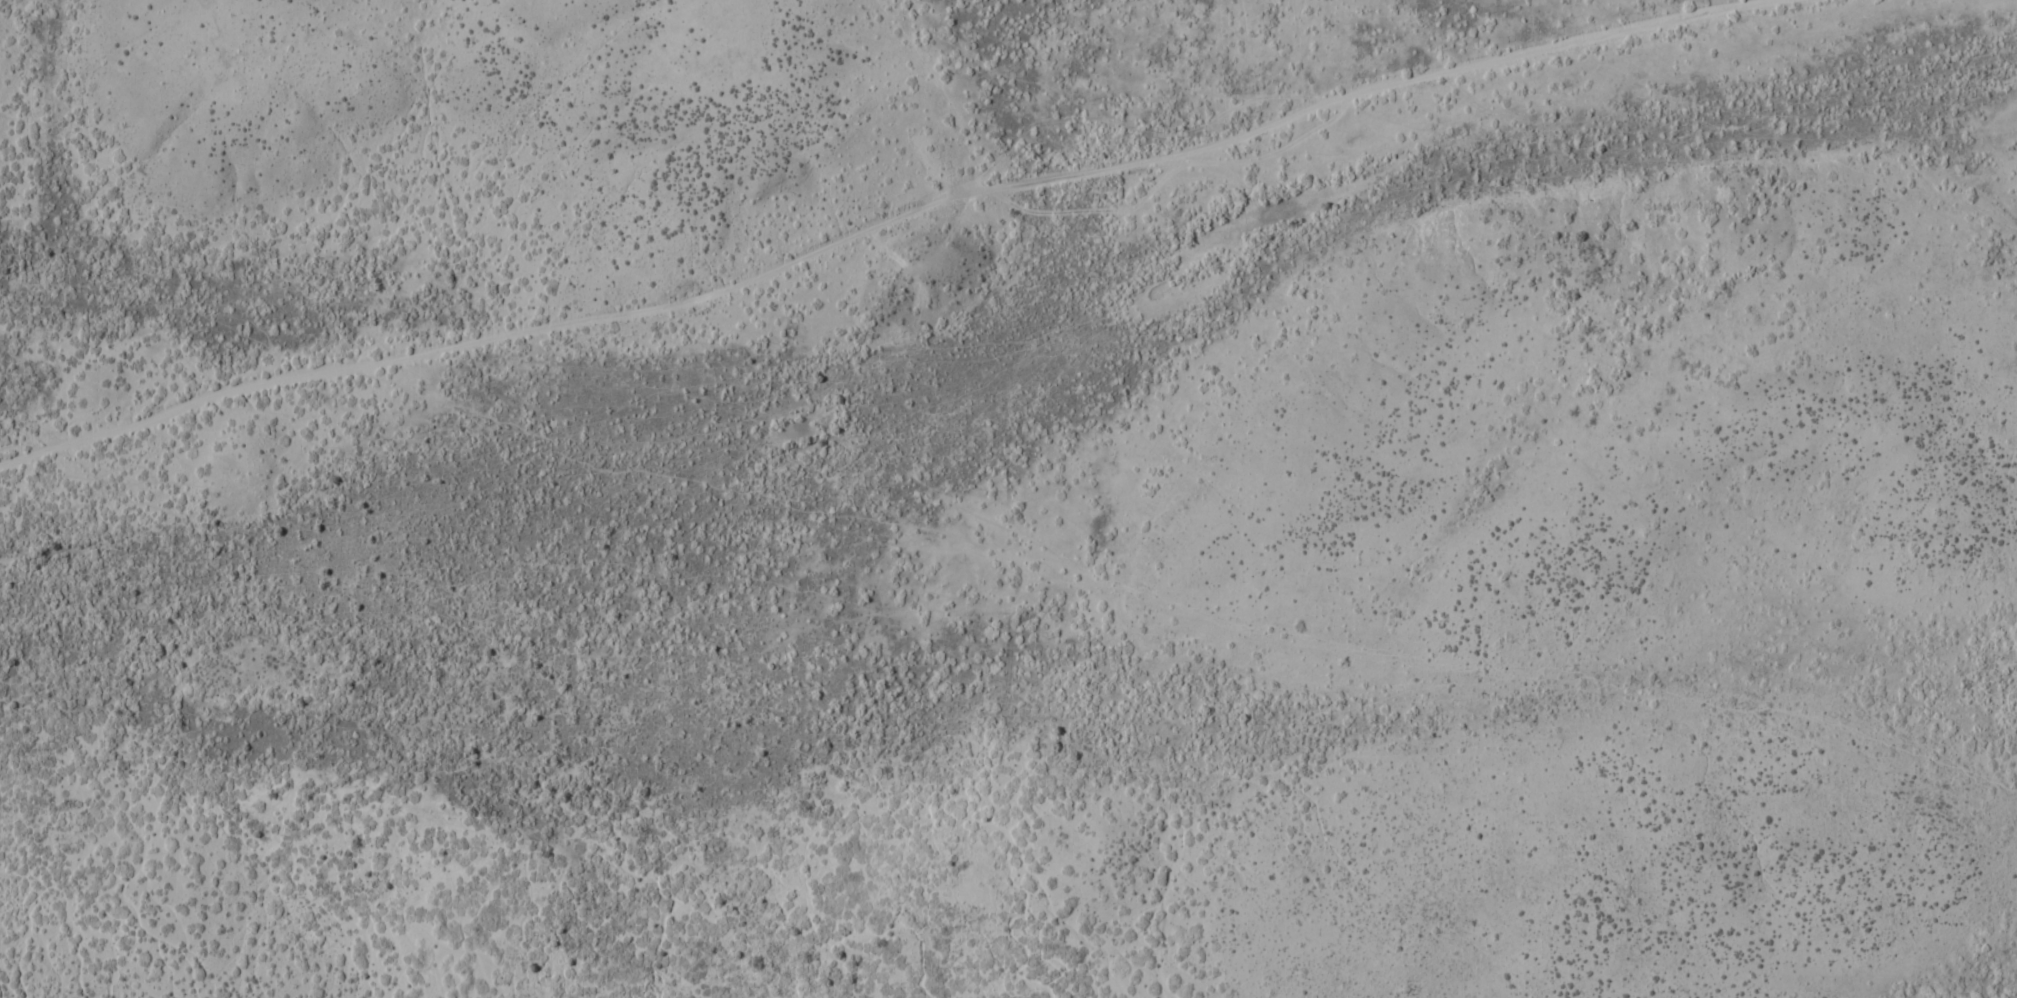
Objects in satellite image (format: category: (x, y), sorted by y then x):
road: (878, 222)

